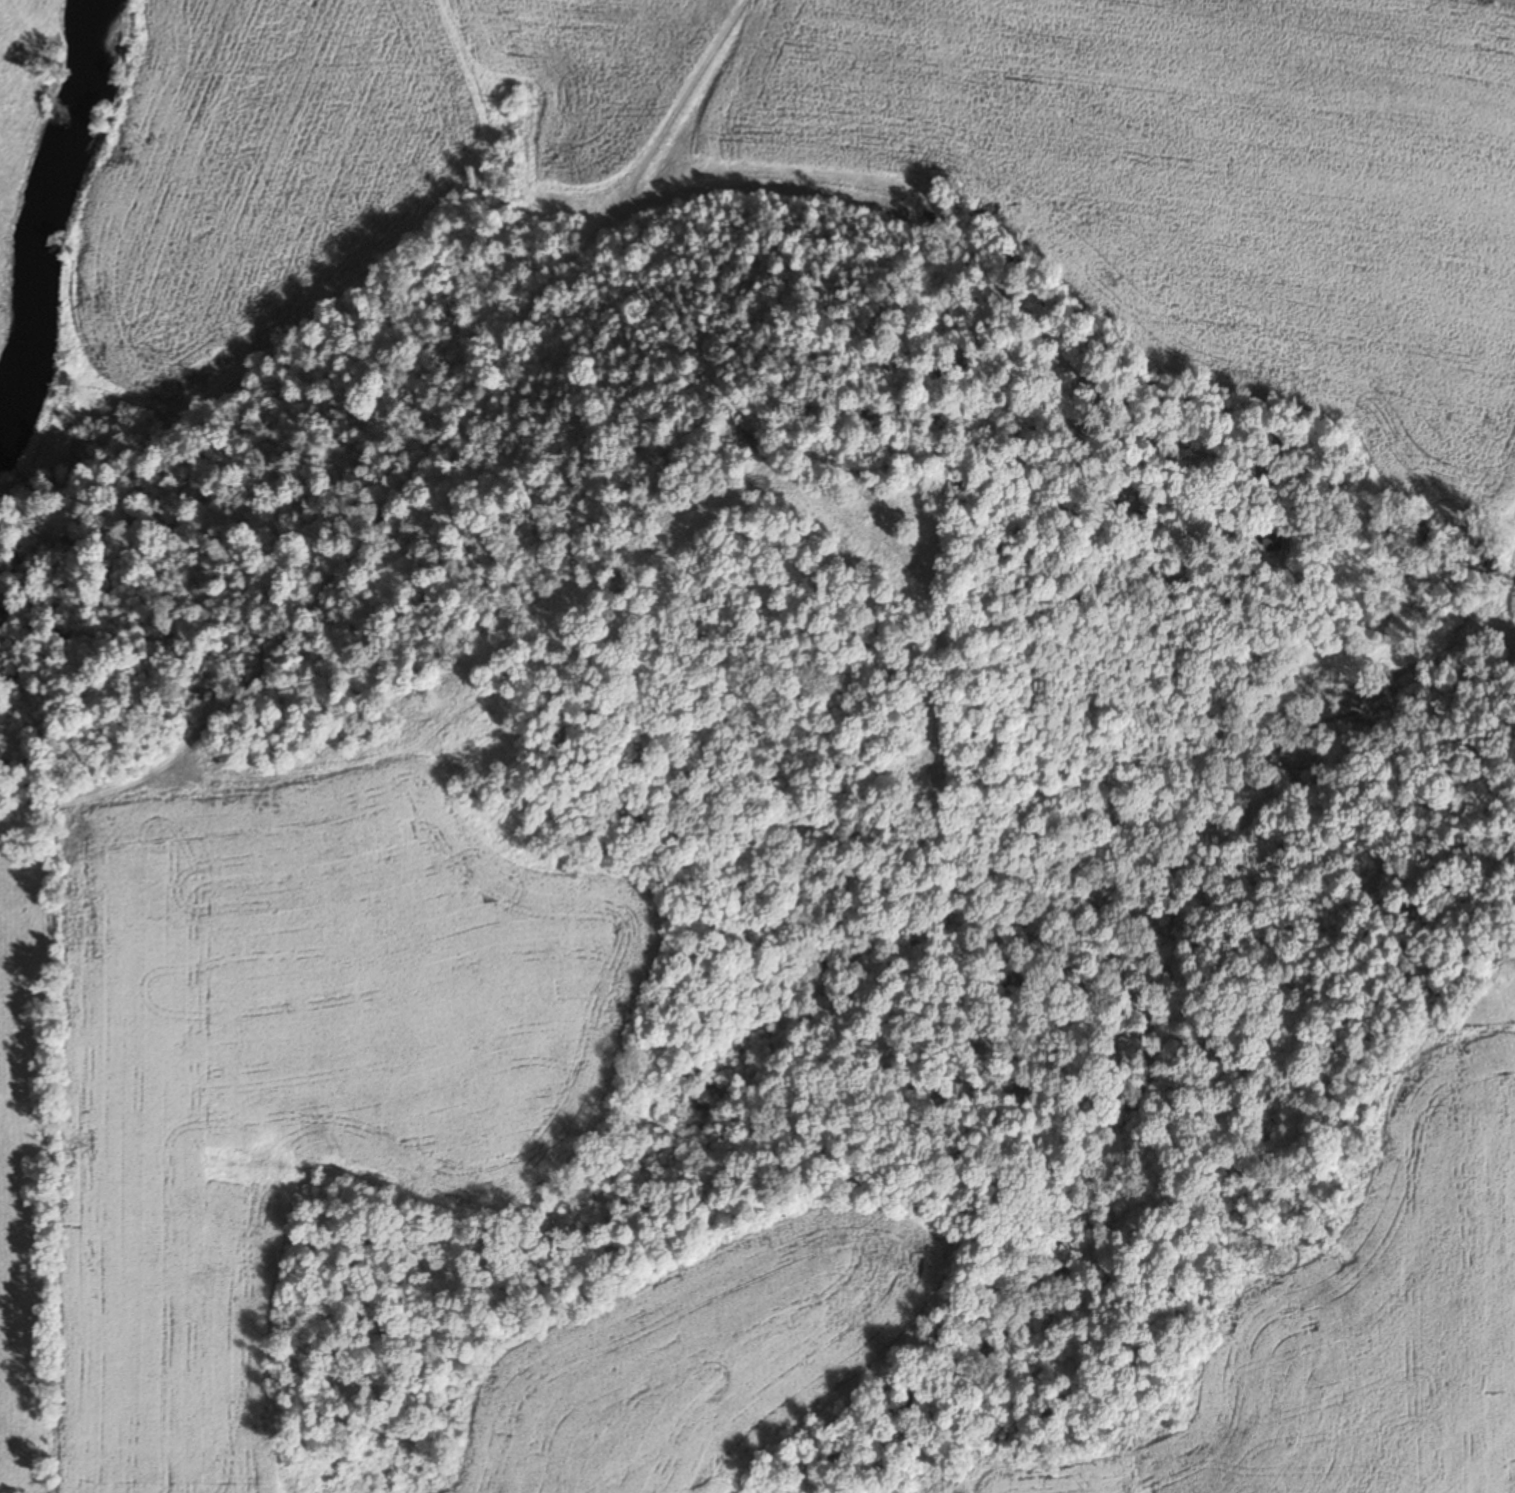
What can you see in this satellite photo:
river: (47, 192)
building: (1269, 539)

